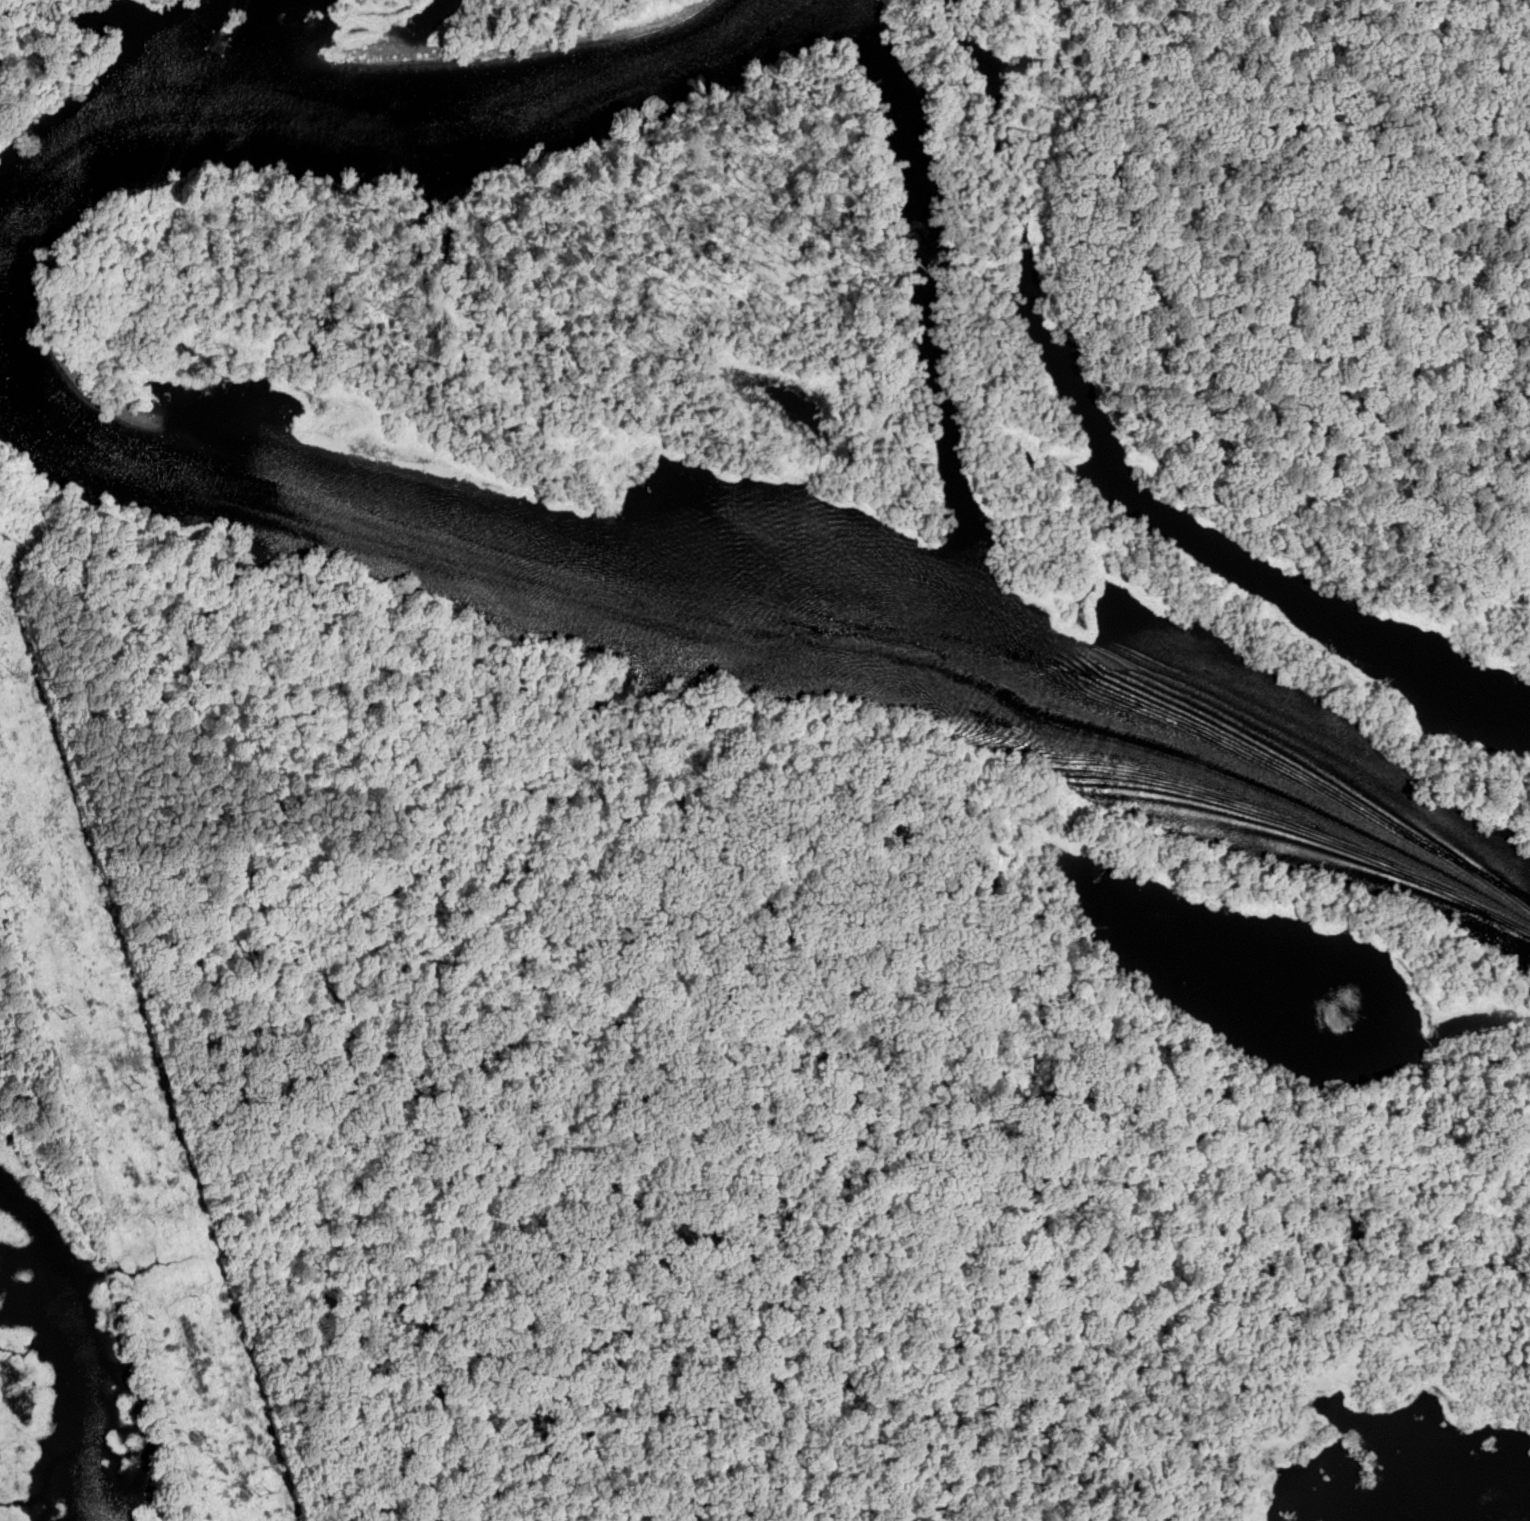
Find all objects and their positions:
power tower: (222, 44)
river: (356, 108)
power tower: (135, 252)
river: (766, 645)
power tower: (16, 675)
power tower: (76, 1018)
power tower: (147, 1087)
power tower: (194, 1442)
power tower: (260, 1495)

